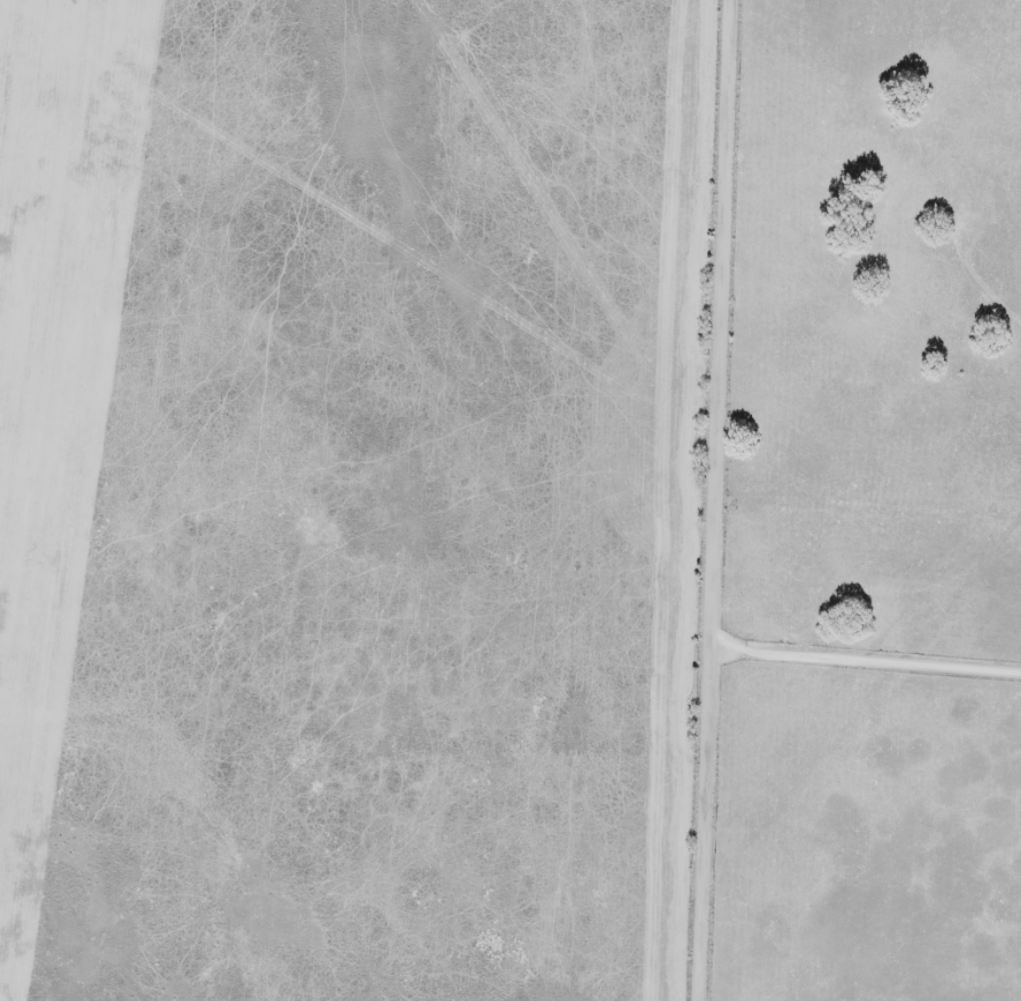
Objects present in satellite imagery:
road: (719, 500)
road: (864, 658)

